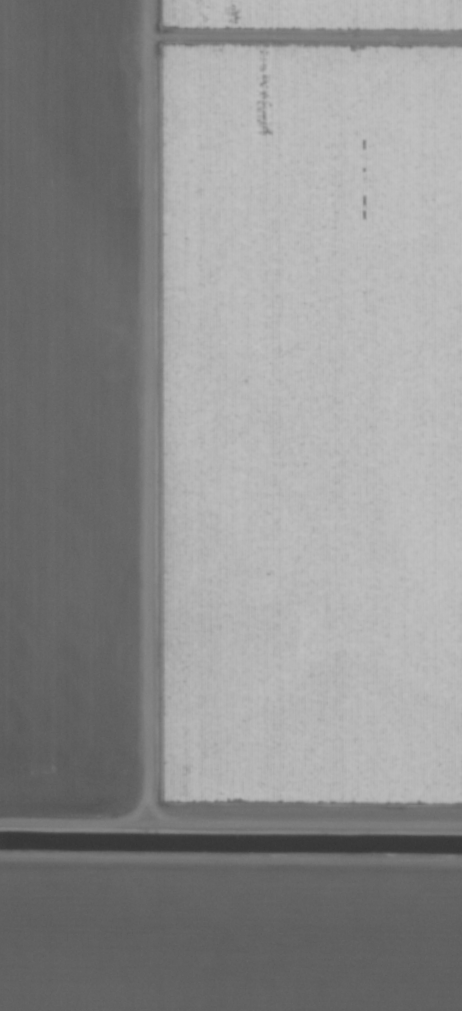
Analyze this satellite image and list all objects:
crop: (231, 505)
road: (231, 892)

